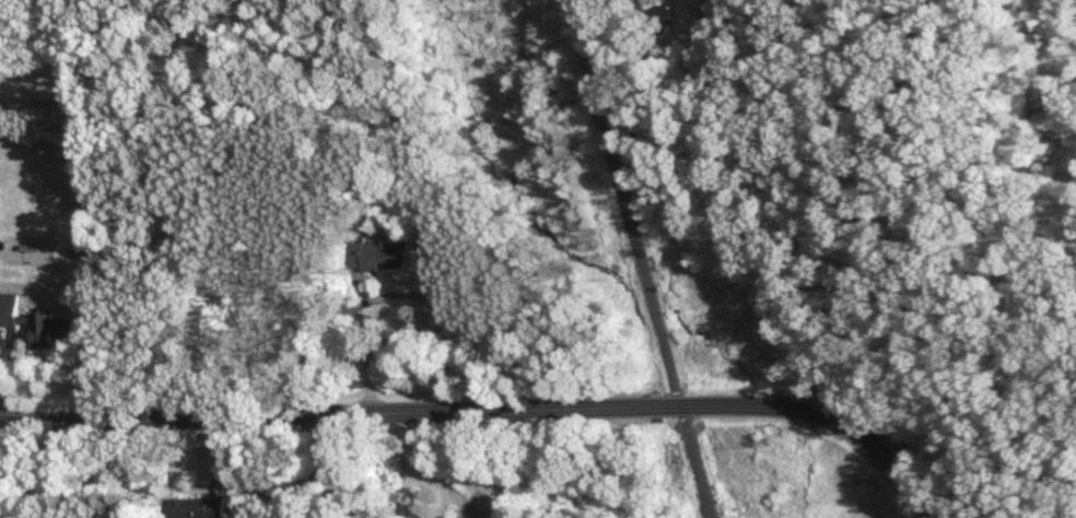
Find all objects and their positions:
building: (662, 15)
road: (670, 108)
road: (740, 210)
building: (374, 256)
road: (642, 258)
road: (403, 294)
building: (34, 323)
road: (487, 411)
road: (328, 467)
building: (198, 508)

